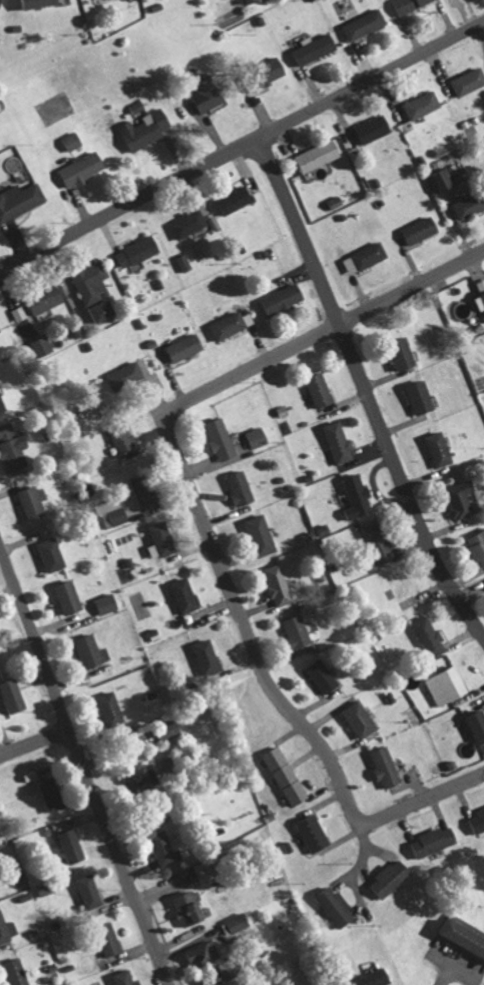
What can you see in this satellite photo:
building: (250, 1)
building: (2, 2)
building: (41, 3)
building: (410, 4)
building: (364, 24)
building: (316, 48)
building: (280, 65)
building: (468, 81)
building: (208, 97)
building: (423, 105)
building: (374, 128)
building: (148, 129)
building: (73, 141)
road: (242, 145)
building: (319, 155)
building: (83, 169)
building: (442, 181)
building: (235, 199)
building: (20, 201)
building: (469, 206)
building: (189, 224)
building: (420, 230)
building: (139, 251)
building: (366, 257)
building: (185, 262)
building: (91, 281)
building: (480, 286)
building: (283, 299)
building: (48, 300)
building: (480, 301)
building: (104, 310)
building: (21, 313)
building: (231, 324)
building: (1, 329)
building: (45, 346)
building: (186, 347)
building: (404, 358)
building: (127, 375)
building: (320, 390)
road: (364, 392)
building: (420, 398)
building: (2, 404)
building: (257, 437)
building: (123, 438)
building: (221, 439)
building: (340, 443)
building: (14, 448)
building: (438, 449)
road: (178, 466)
building: (241, 488)
building: (147, 491)
building: (357, 496)
building: (462, 500)
building: (35, 502)
building: (115, 515)
building: (260, 535)
building: (162, 540)
building: (379, 543)
building: (478, 547)
building: (53, 554)
building: (278, 585)
building: (185, 595)
building: (70, 597)
building: (108, 603)
building: (298, 632)
building: (429, 636)
building: (0, 638)
building: (93, 652)
building: (207, 656)
building: (323, 676)
building: (447, 686)
building: (16, 696)
building: (111, 707)
building: (359, 719)
building: (478, 726)
road: (34, 745)
building: (386, 767)
road: (82, 769)
building: (286, 776)
building: (141, 779)
building: (53, 794)
road: (423, 802)
building: (477, 820)
building: (314, 834)
building: (434, 841)
building: (73, 846)
building: (165, 849)
building: (209, 875)
building: (392, 878)
building: (89, 891)
building: (336, 906)
building: (190, 909)
building: (234, 923)
building: (7, 929)
building: (459, 934)
building: (109, 945)
building: (203, 955)
building: (229, 970)
building: (17, 972)
building: (126, 978)
building: (365, 979)
building: (222, 983)

